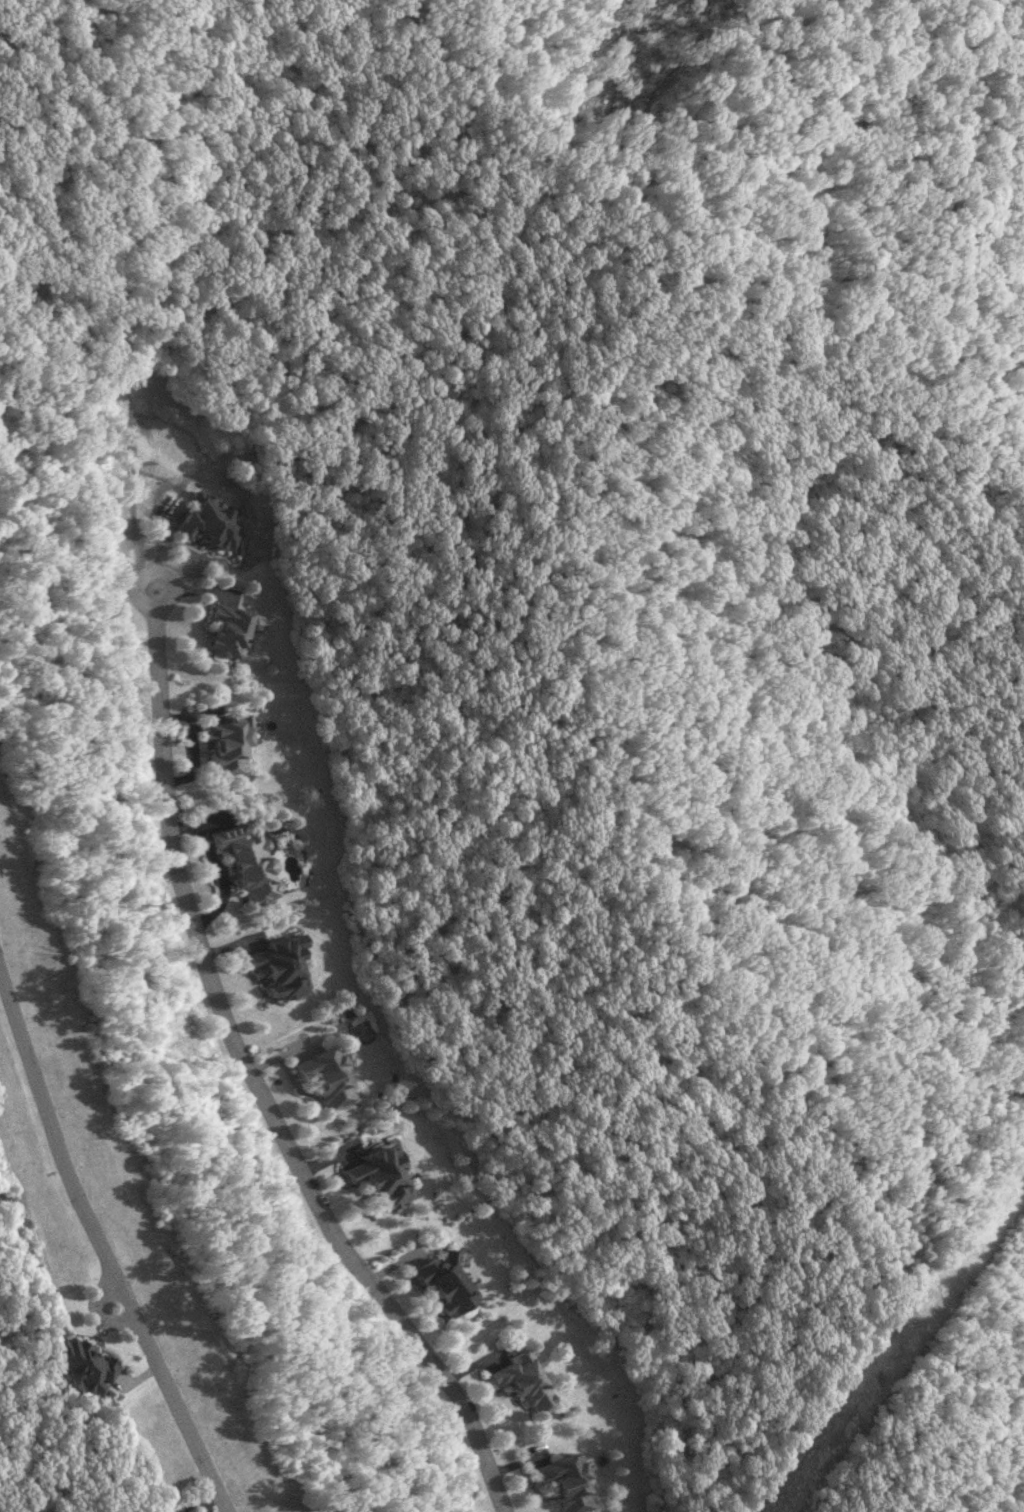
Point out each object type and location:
building: (210, 524)
building: (226, 630)
building: (227, 745)
building: (247, 863)
building: (282, 966)
building: (328, 1077)
road: (256, 1079)
building: (381, 1177)
road: (102, 1236)
building: (445, 1284)
building: (90, 1365)
building: (524, 1383)
building: (567, 1483)

